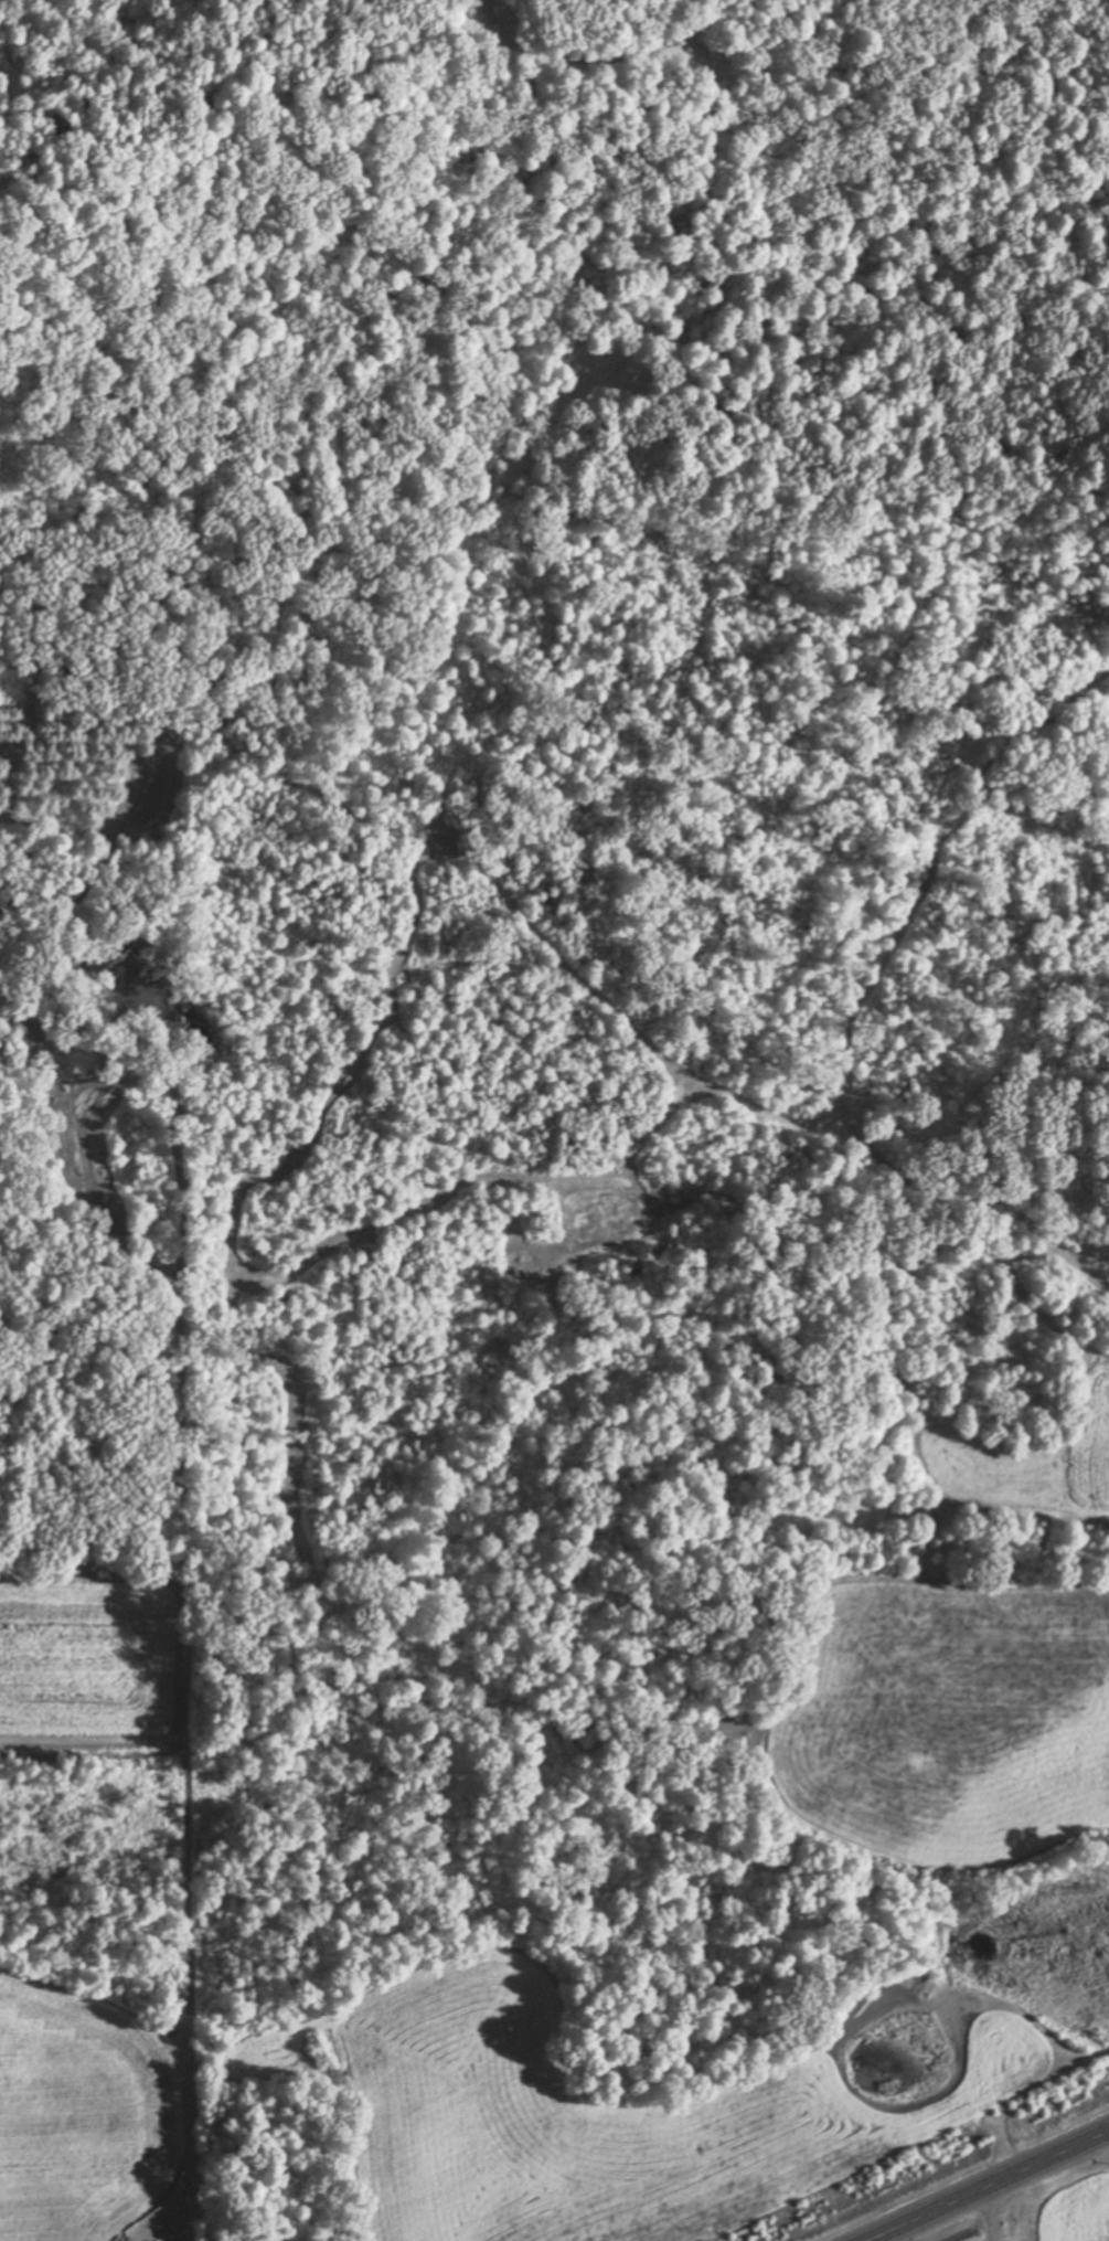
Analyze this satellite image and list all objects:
road: (985, 2185)
road: (989, 2212)

